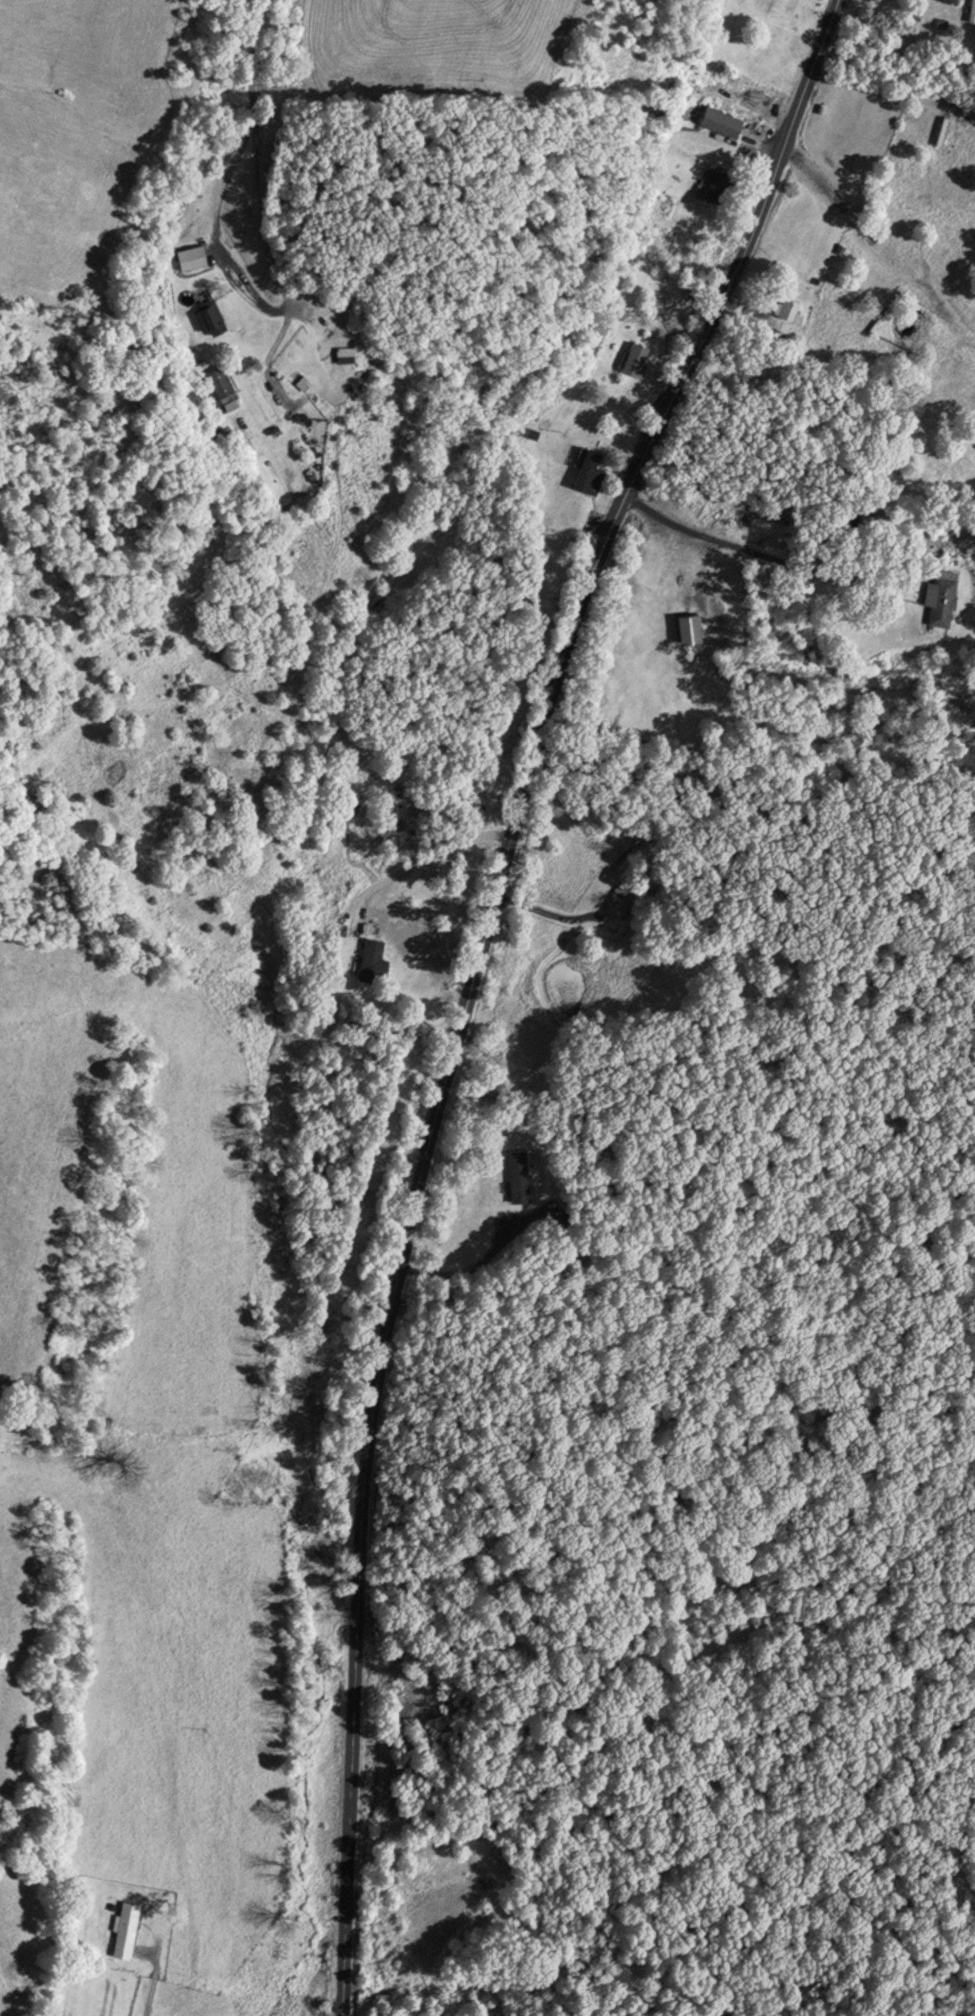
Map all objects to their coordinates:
building: (972, 11)
road: (244, 117)
building: (725, 122)
building: (945, 130)
building: (717, 185)
building: (790, 308)
building: (212, 318)
building: (349, 354)
building: (637, 357)
building: (224, 383)
building: (591, 471)
building: (695, 630)
building: (618, 898)
building: (374, 958)
road: (475, 981)
building: (521, 1174)
building: (128, 1929)

